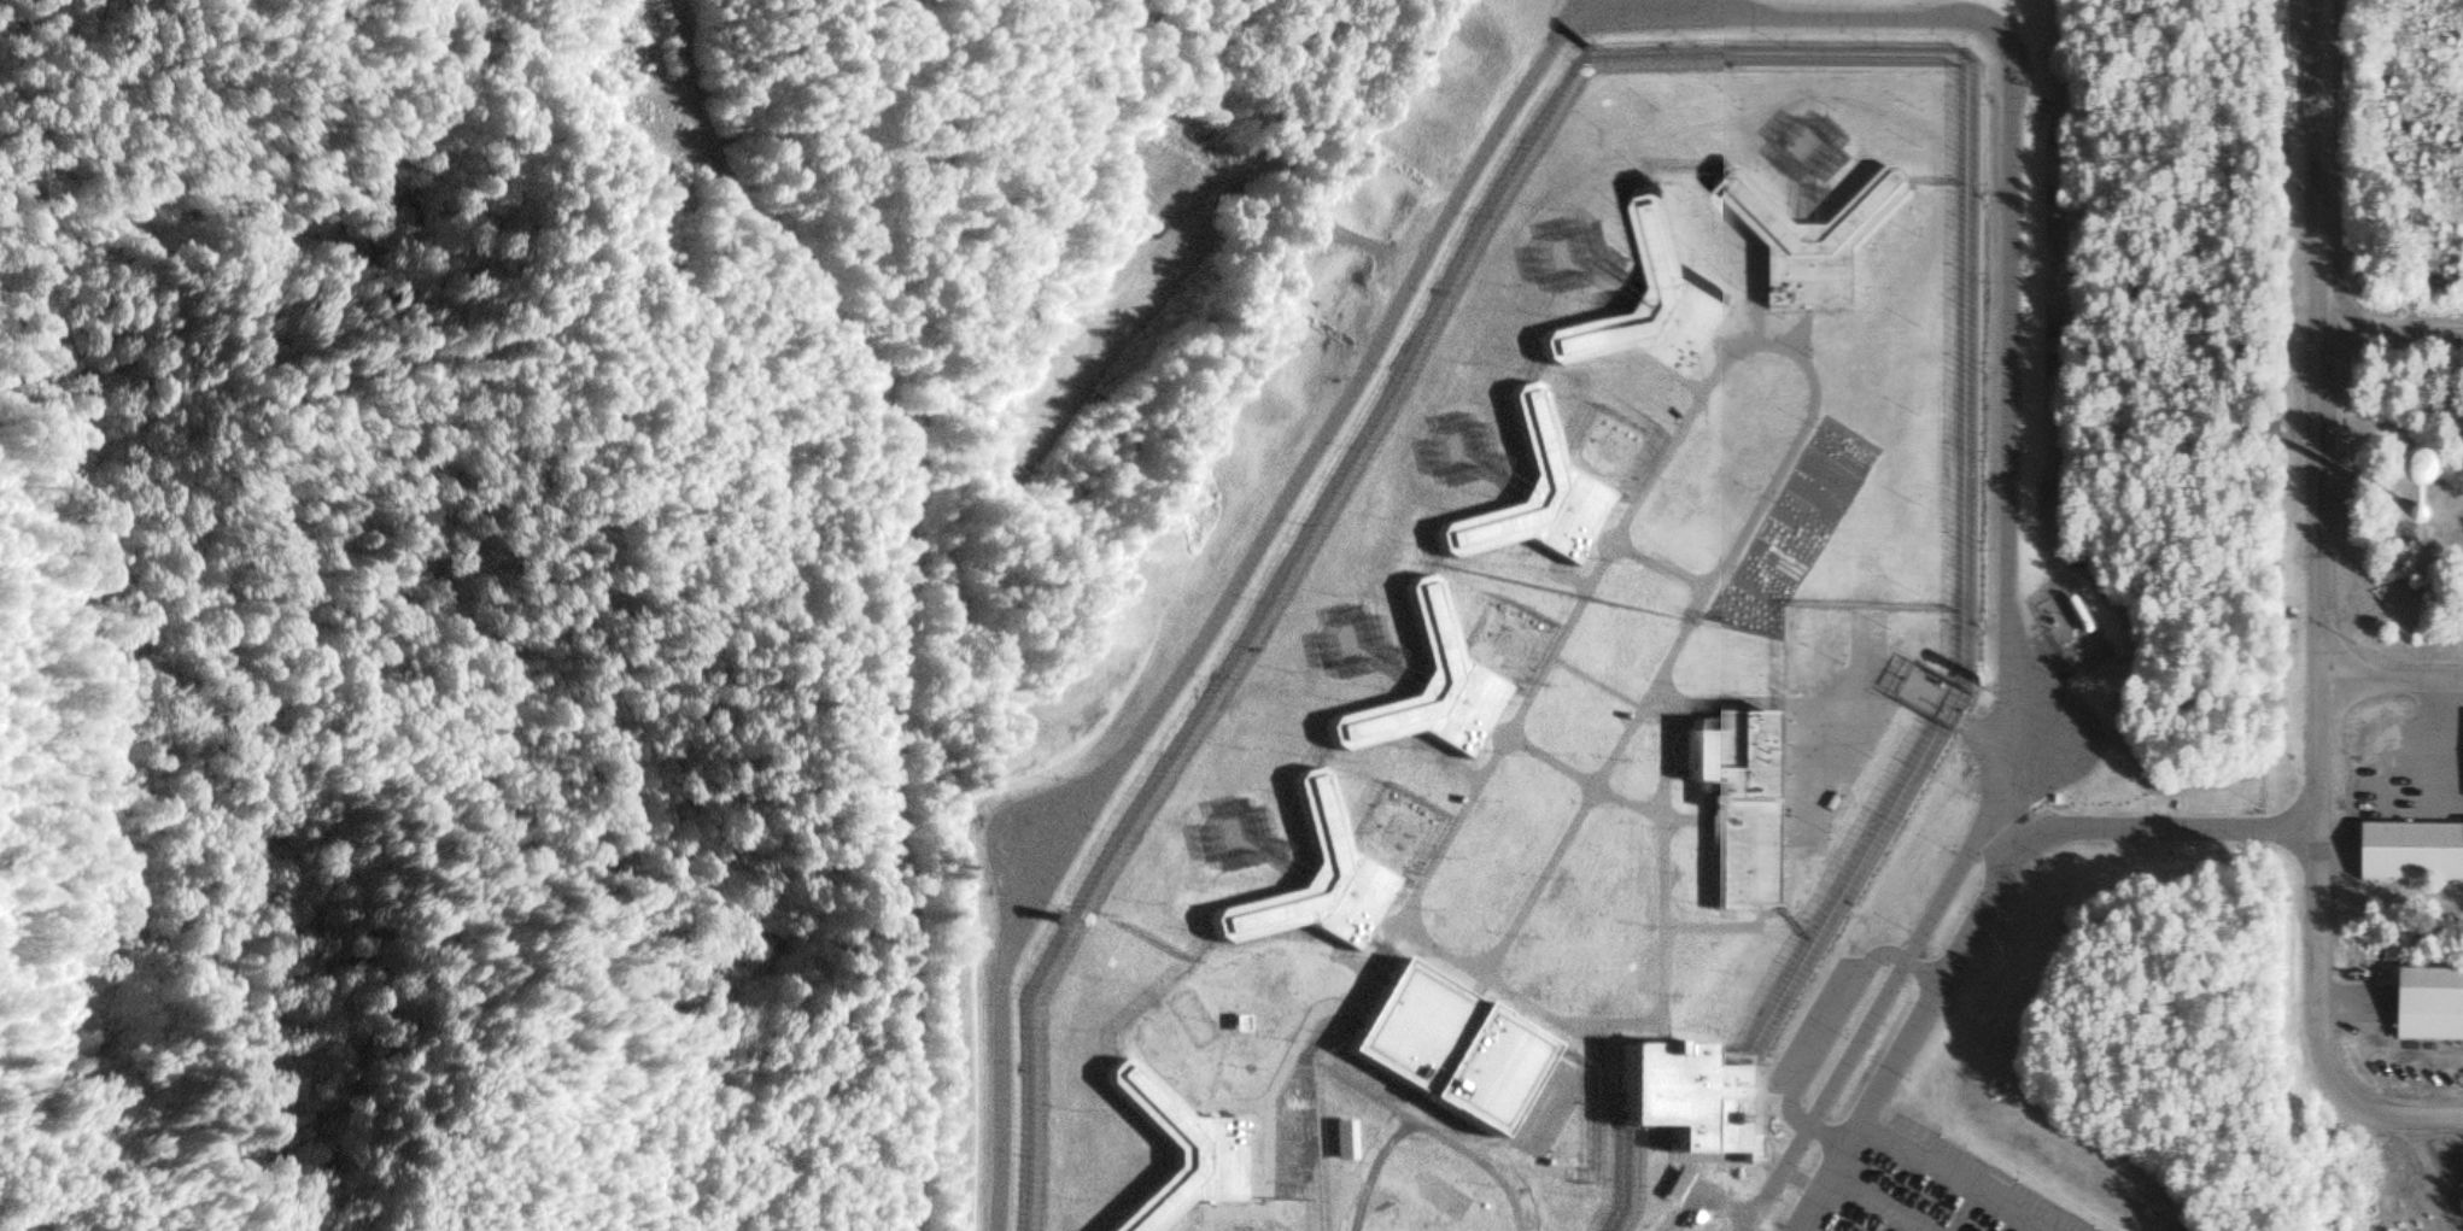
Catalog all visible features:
road: (1508, 95)
building: (1802, 242)
building: (1850, 282)
building: (1642, 298)
building: (1529, 497)
water tower: (2414, 514)
road: (930, 550)
road: (2327, 556)
road: (2395, 678)
building: (1417, 686)
building: (1749, 805)
road: (2023, 805)
building: (2411, 856)
building: (1320, 879)
road: (1979, 908)
road: (1880, 1001)
building: (2429, 1010)
building: (1242, 1021)
parking lot: (1809, 1025)
road: (1826, 1028)
building: (1447, 1047)
building: (1692, 1102)
road: (2401, 1119)
building: (1345, 1139)
building: (1174, 1145)
road: (2434, 1174)
building: (1677, 1180)
parking lot: (1940, 1190)

